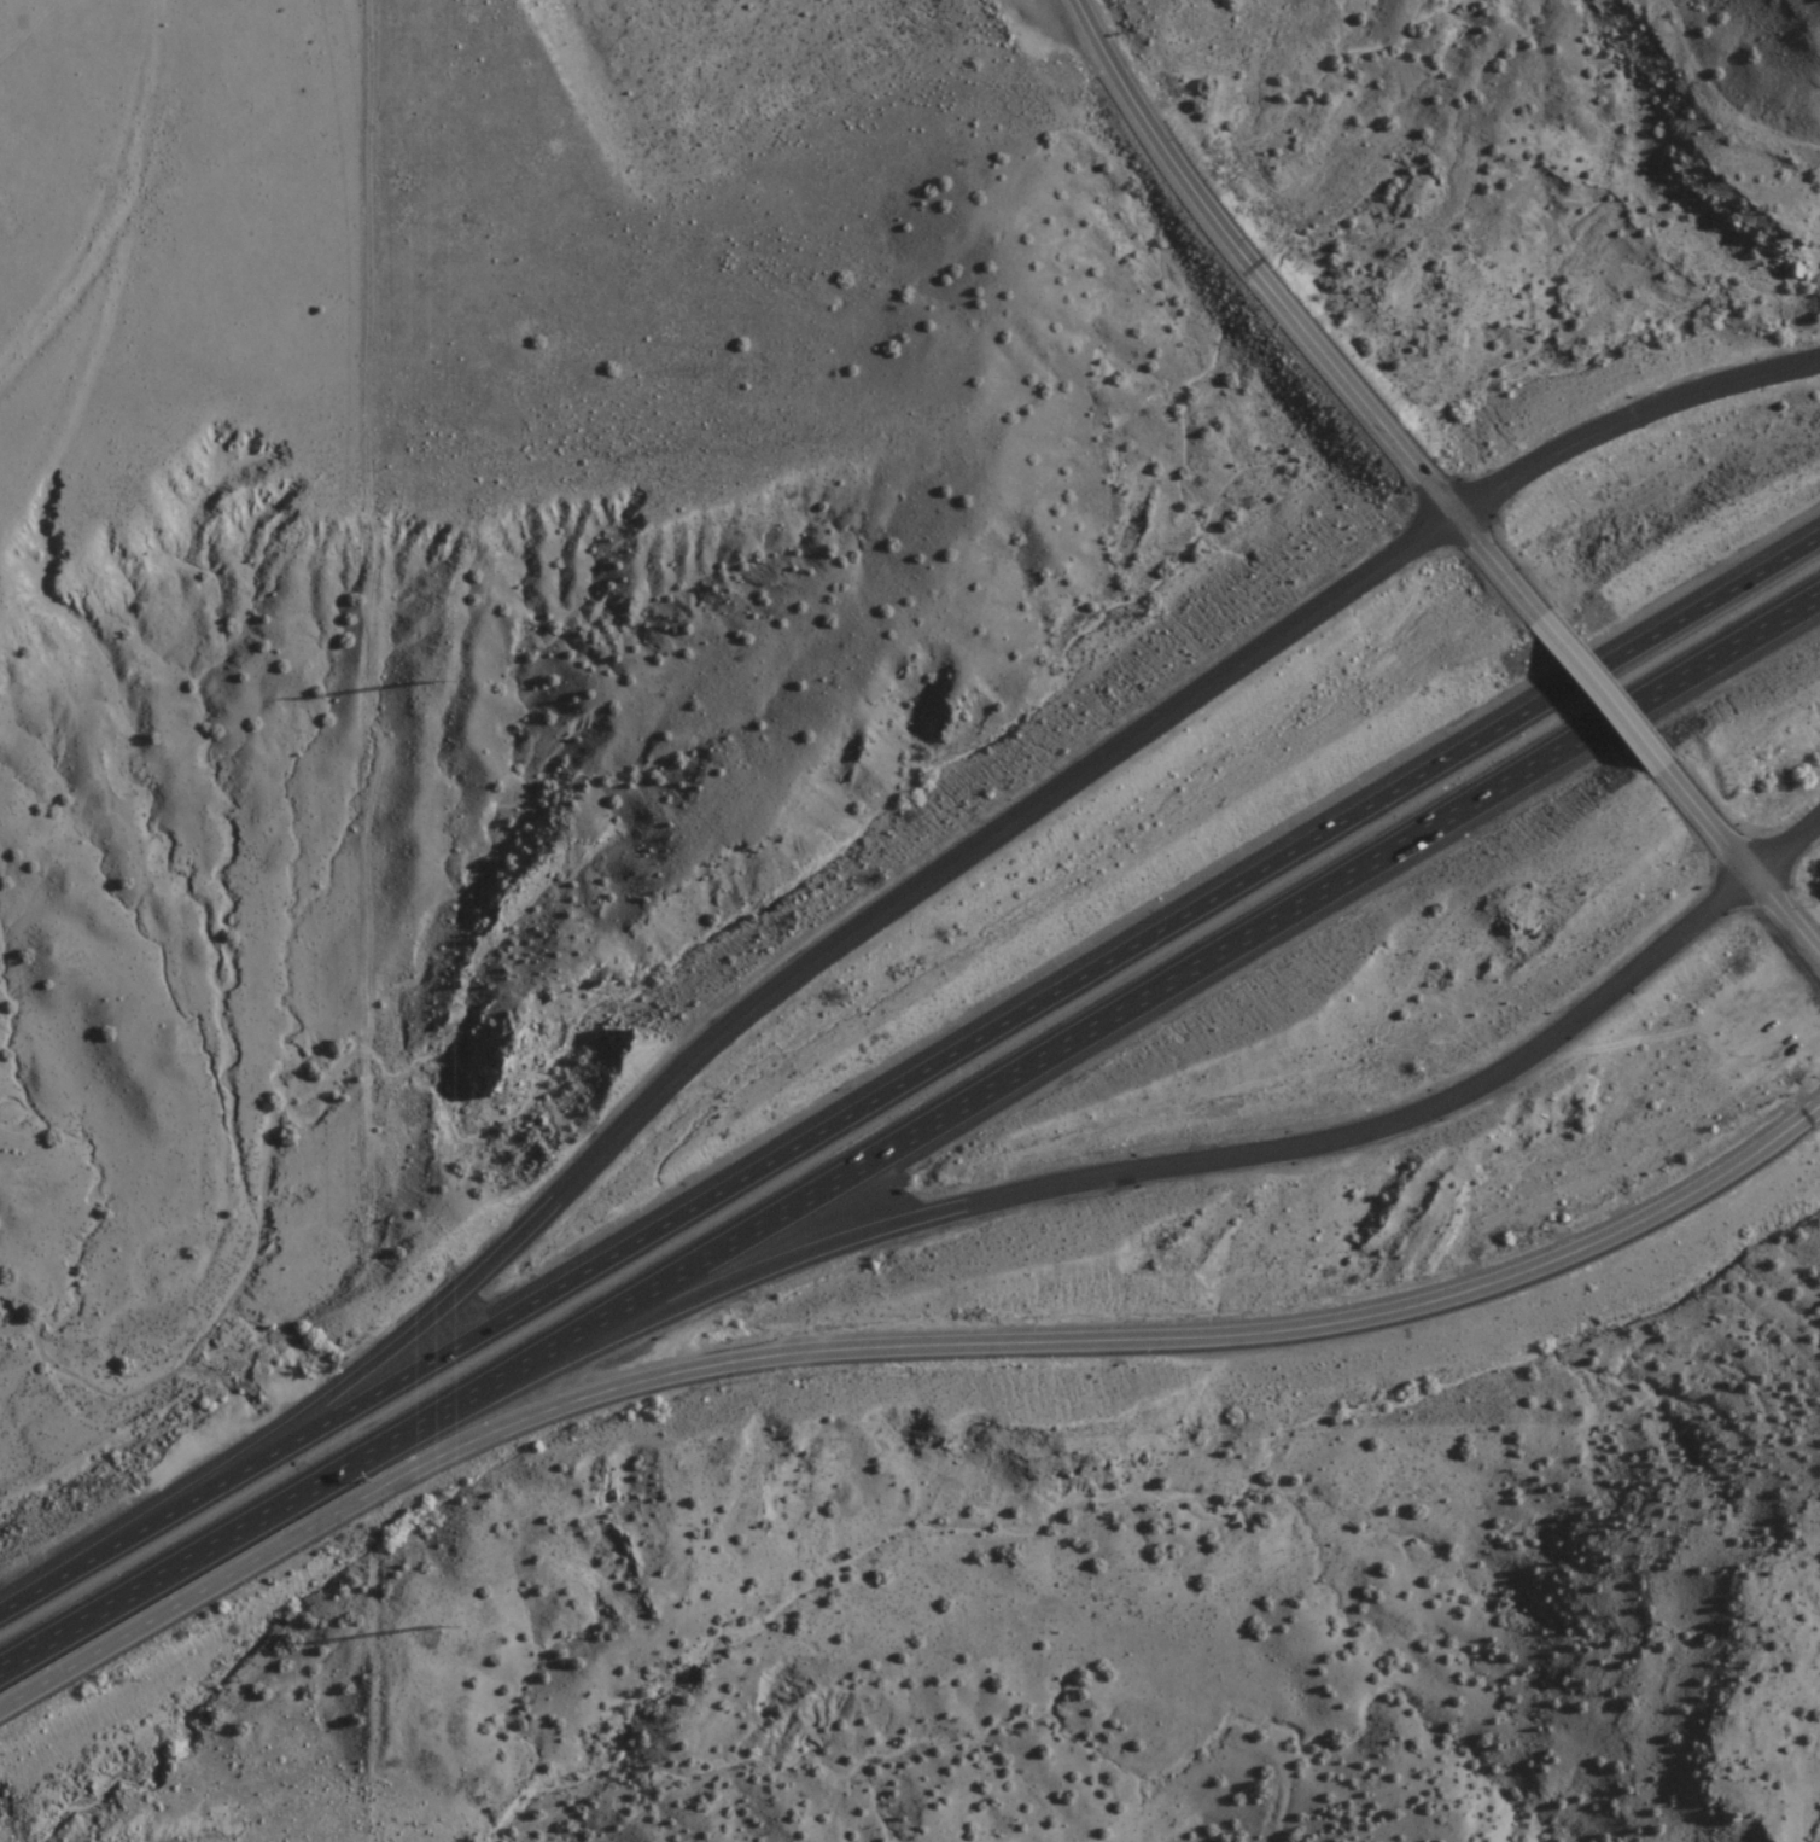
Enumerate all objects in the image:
road: (1295, 320)
road: (1631, 425)
power tower: (443, 686)
road: (1608, 698)
road: (1711, 824)
road: (1785, 846)
road: (1785, 915)
road: (760, 1007)
road: (910, 1080)
road: (910, 1136)
road: (1079, 1188)
road: (893, 1348)
power tower: (450, 1622)

